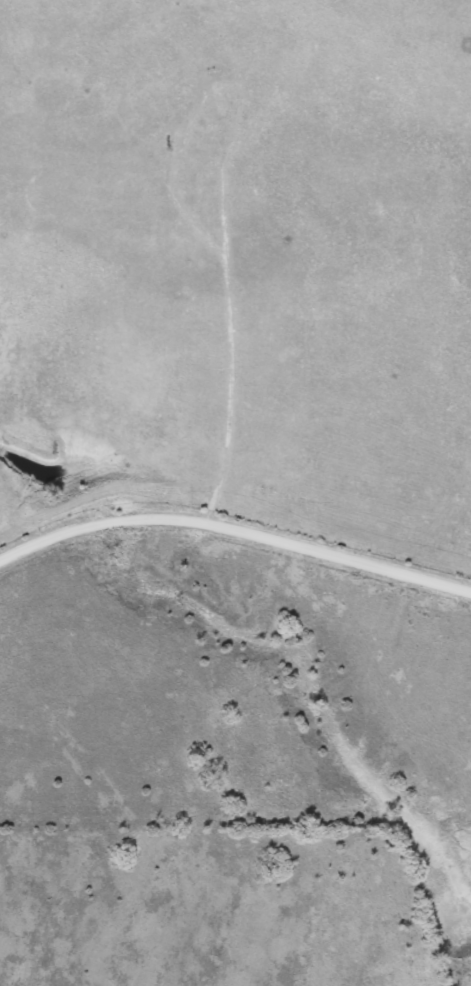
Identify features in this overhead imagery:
road: (235, 528)

